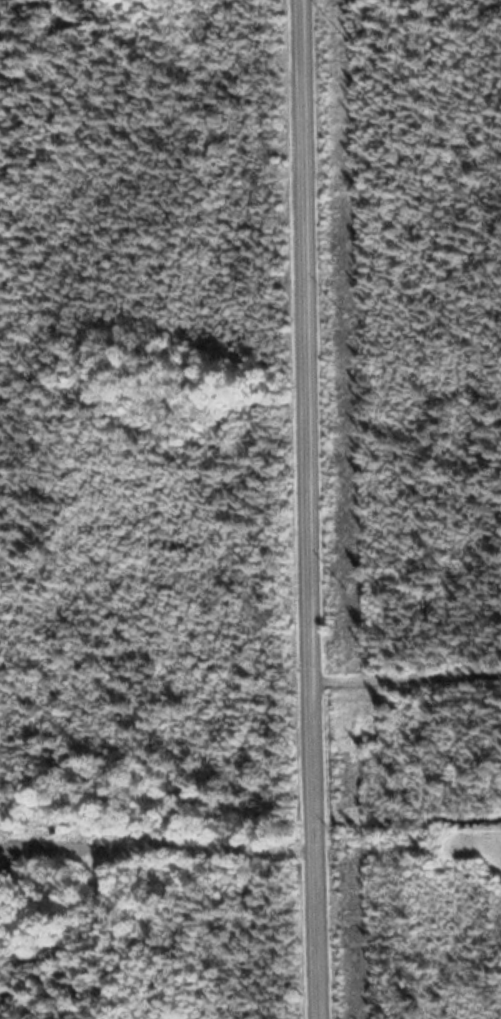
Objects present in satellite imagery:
road: (310, 509)

